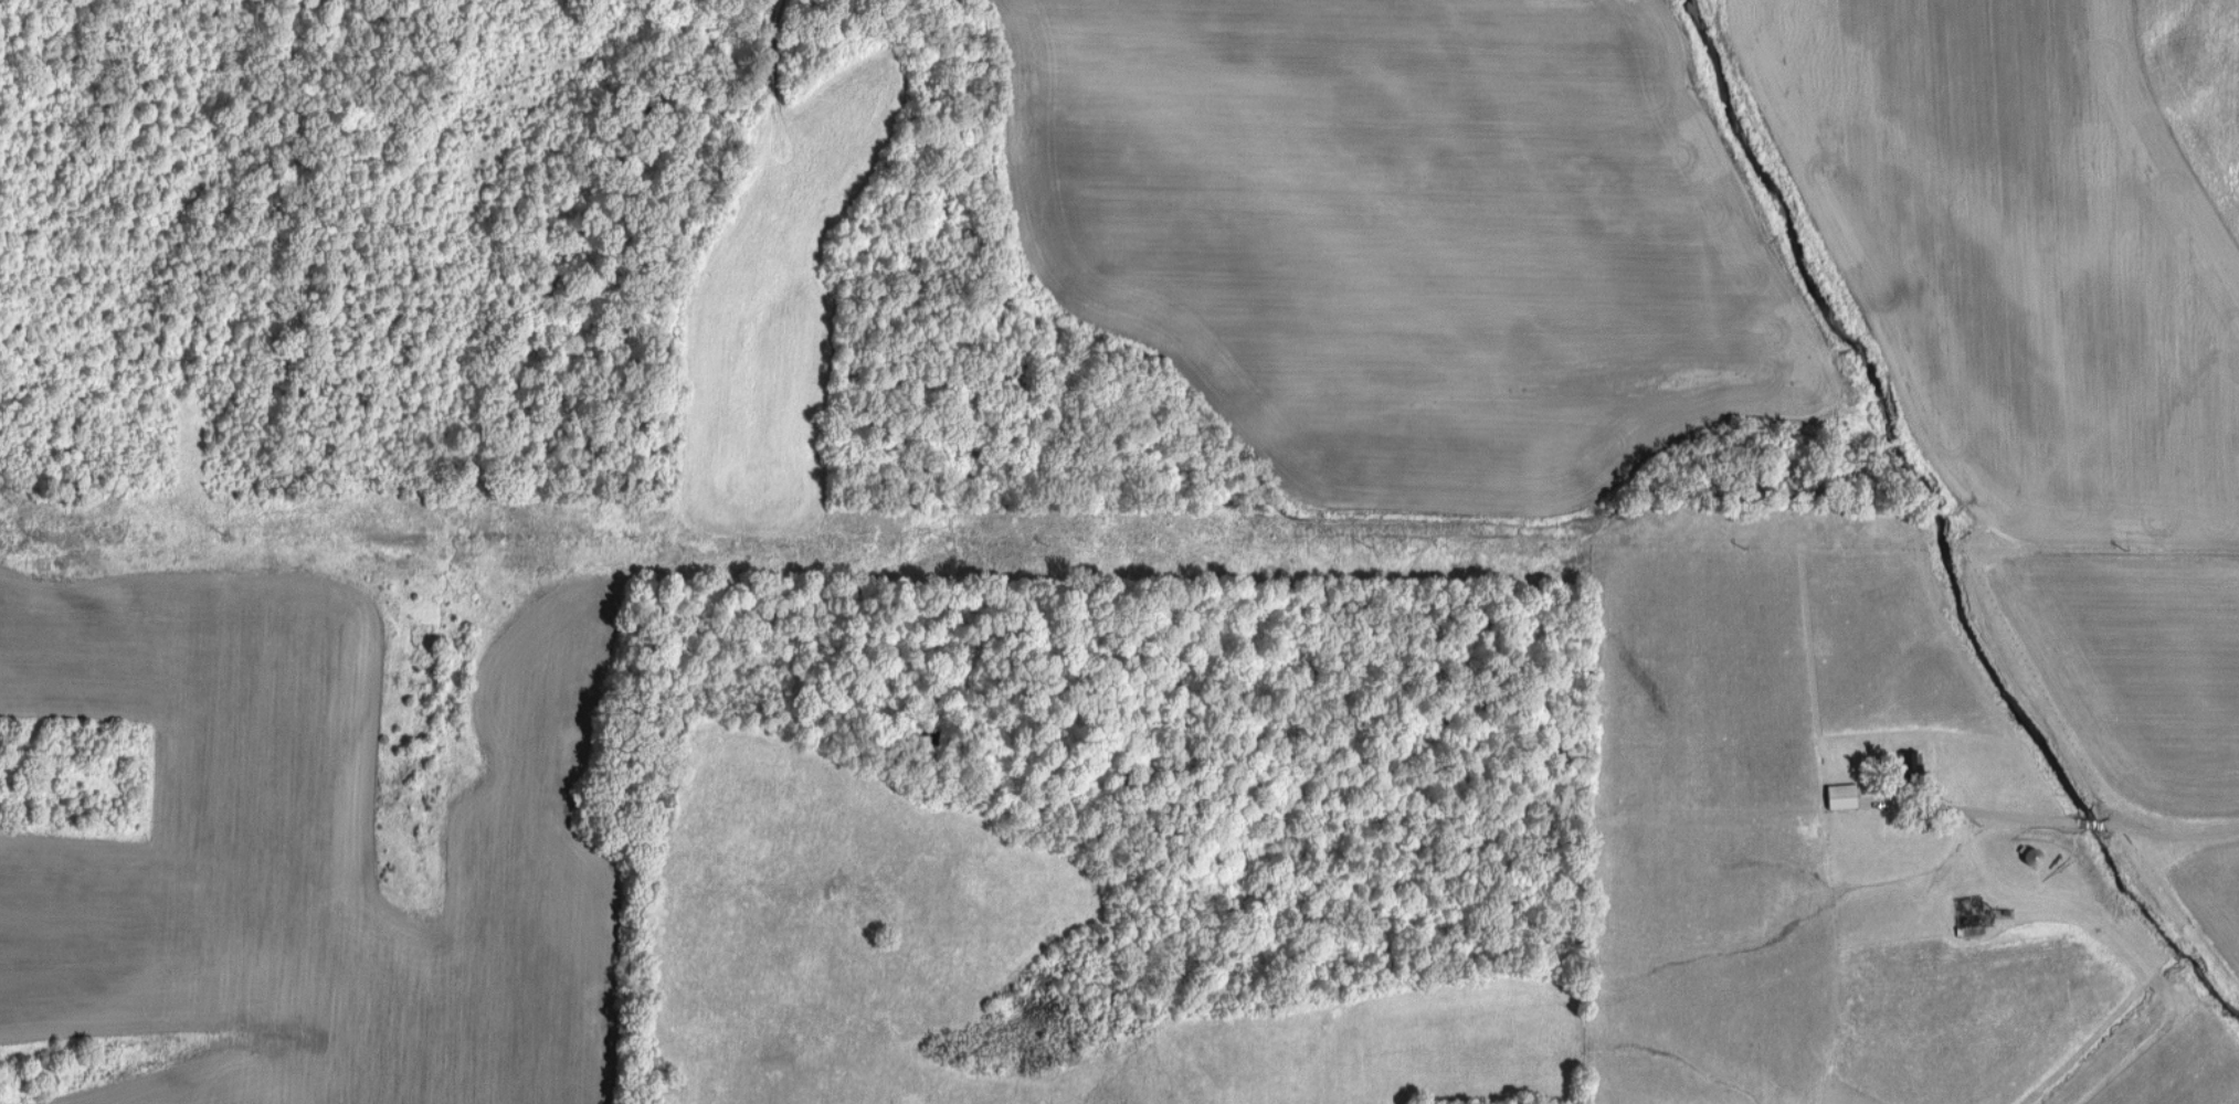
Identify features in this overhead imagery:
building: (1904, 761)

